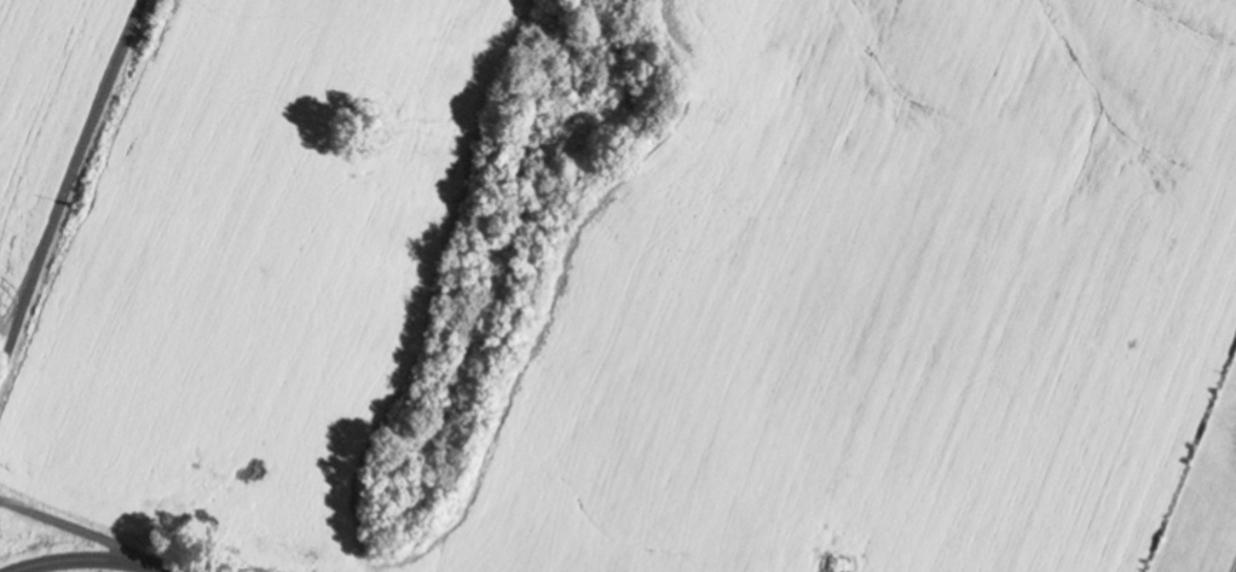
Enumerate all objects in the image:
road: (70, 187)
road: (1217, 522)
road: (77, 528)
road: (89, 559)

